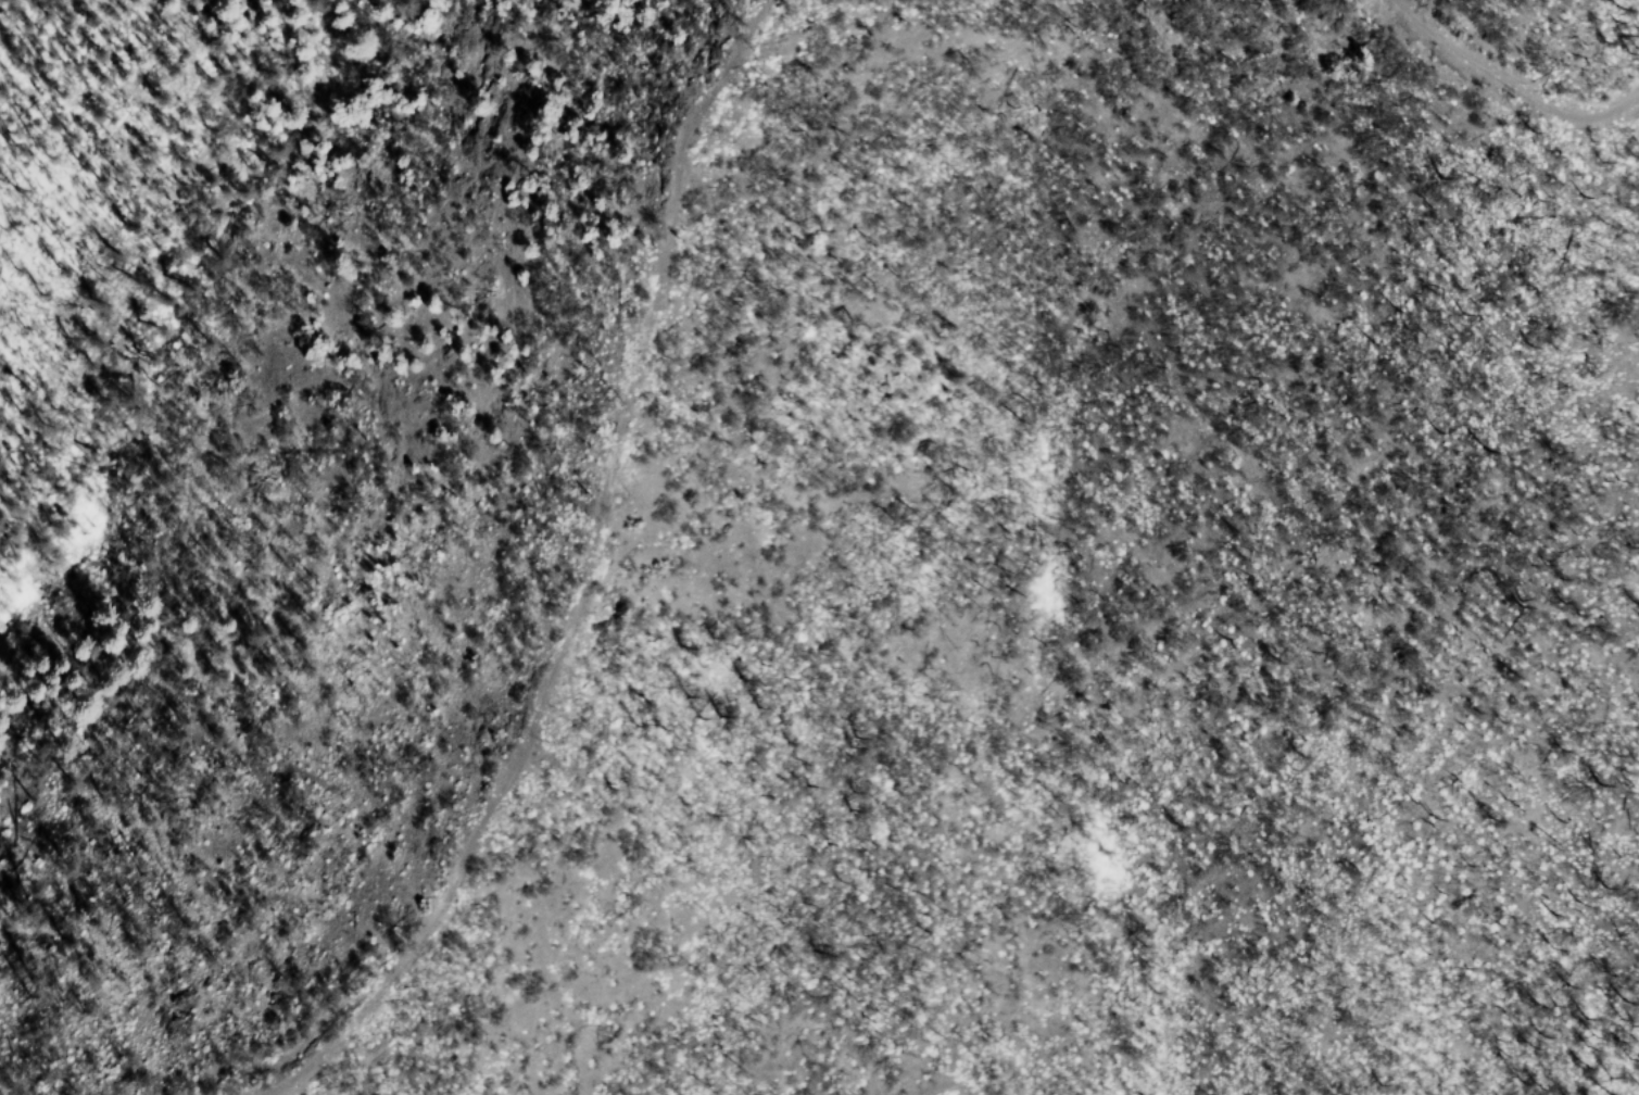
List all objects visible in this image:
road: (1478, 79)

